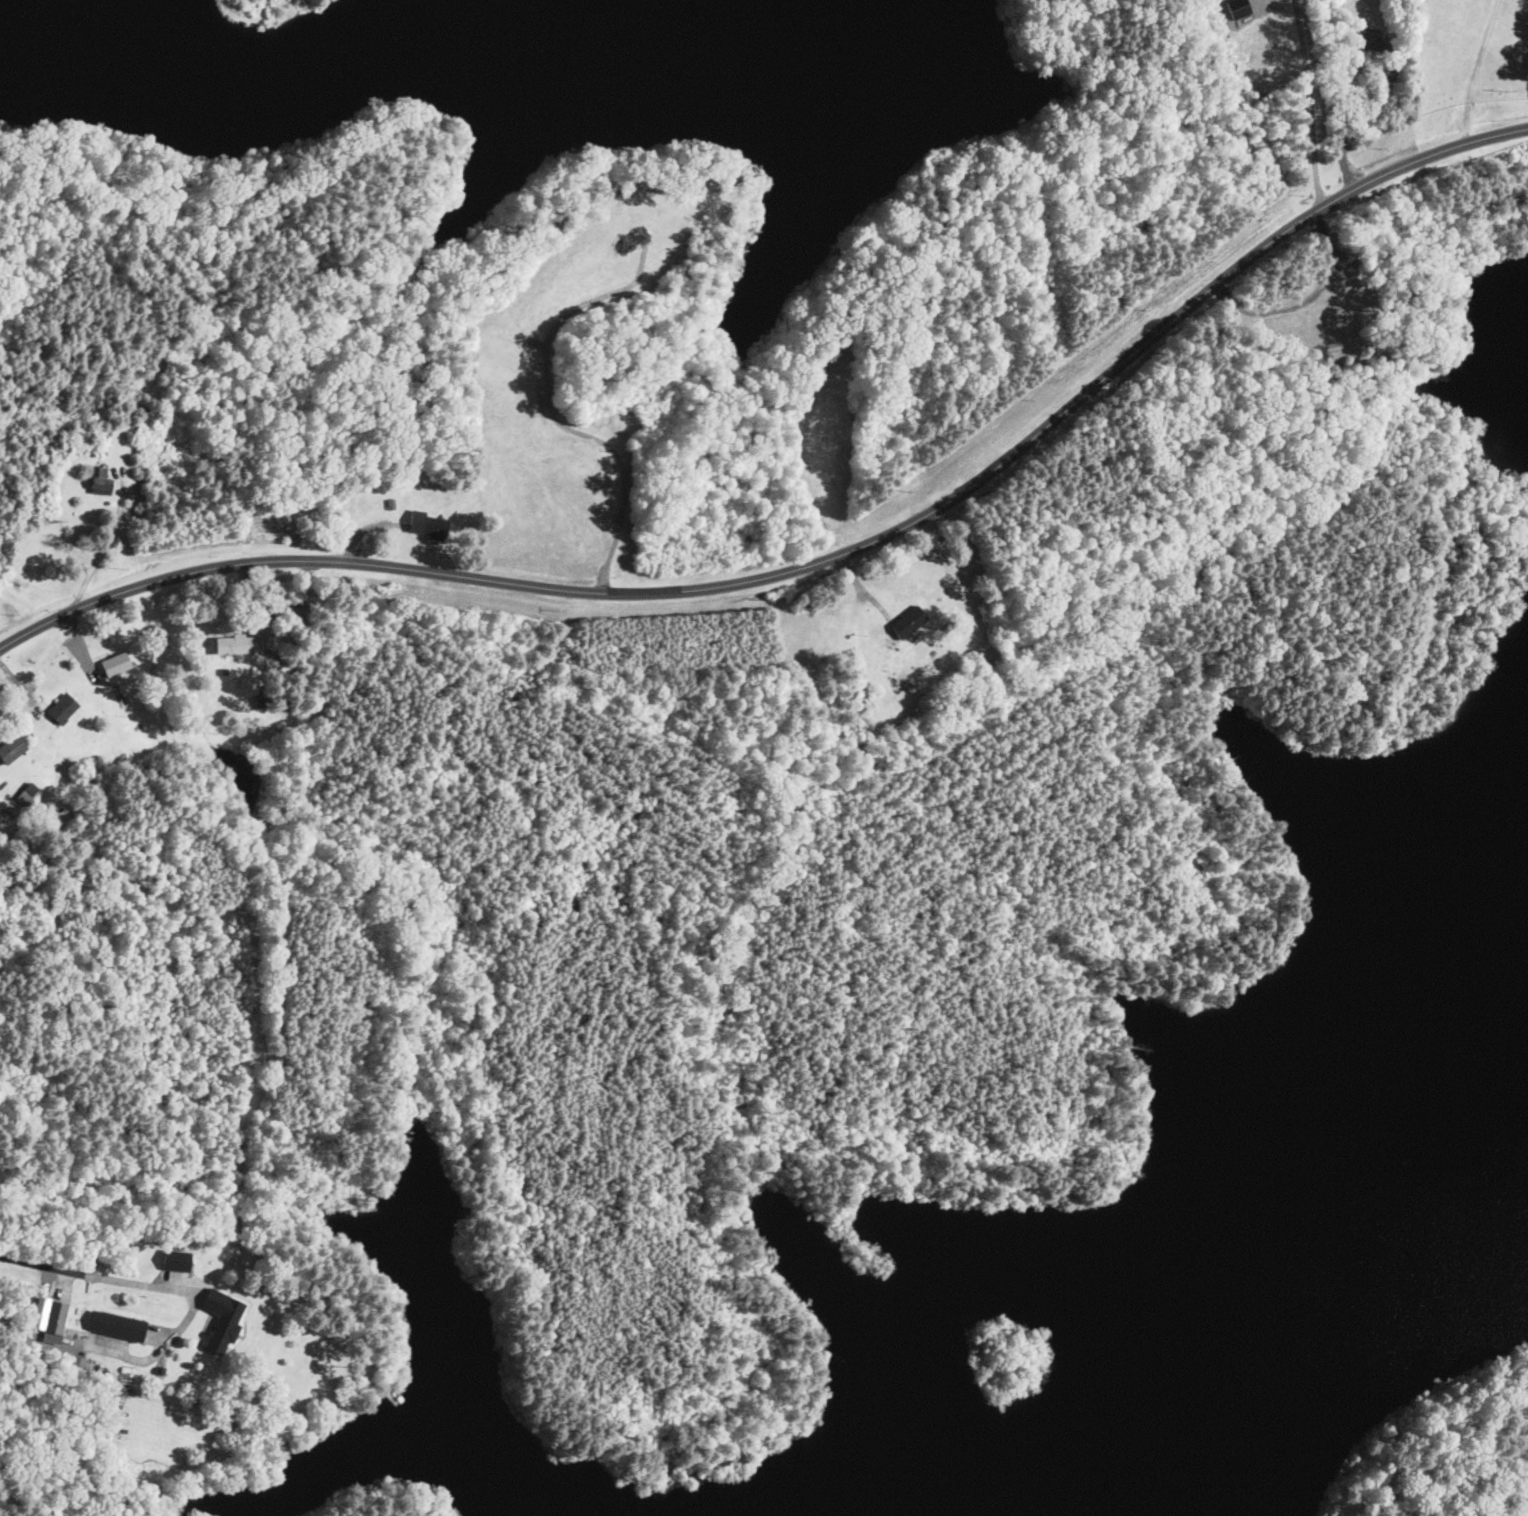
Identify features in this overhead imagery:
road: (1306, 104)
building: (101, 482)
road: (619, 512)
building: (430, 526)
road: (819, 564)
building: (910, 622)
building: (235, 646)
building: (118, 666)
building: (260, 702)
building: (65, 709)
building: (14, 750)
building: (29, 795)
building: (176, 1261)
building: (56, 1322)
building: (228, 1326)
building: (120, 1327)

